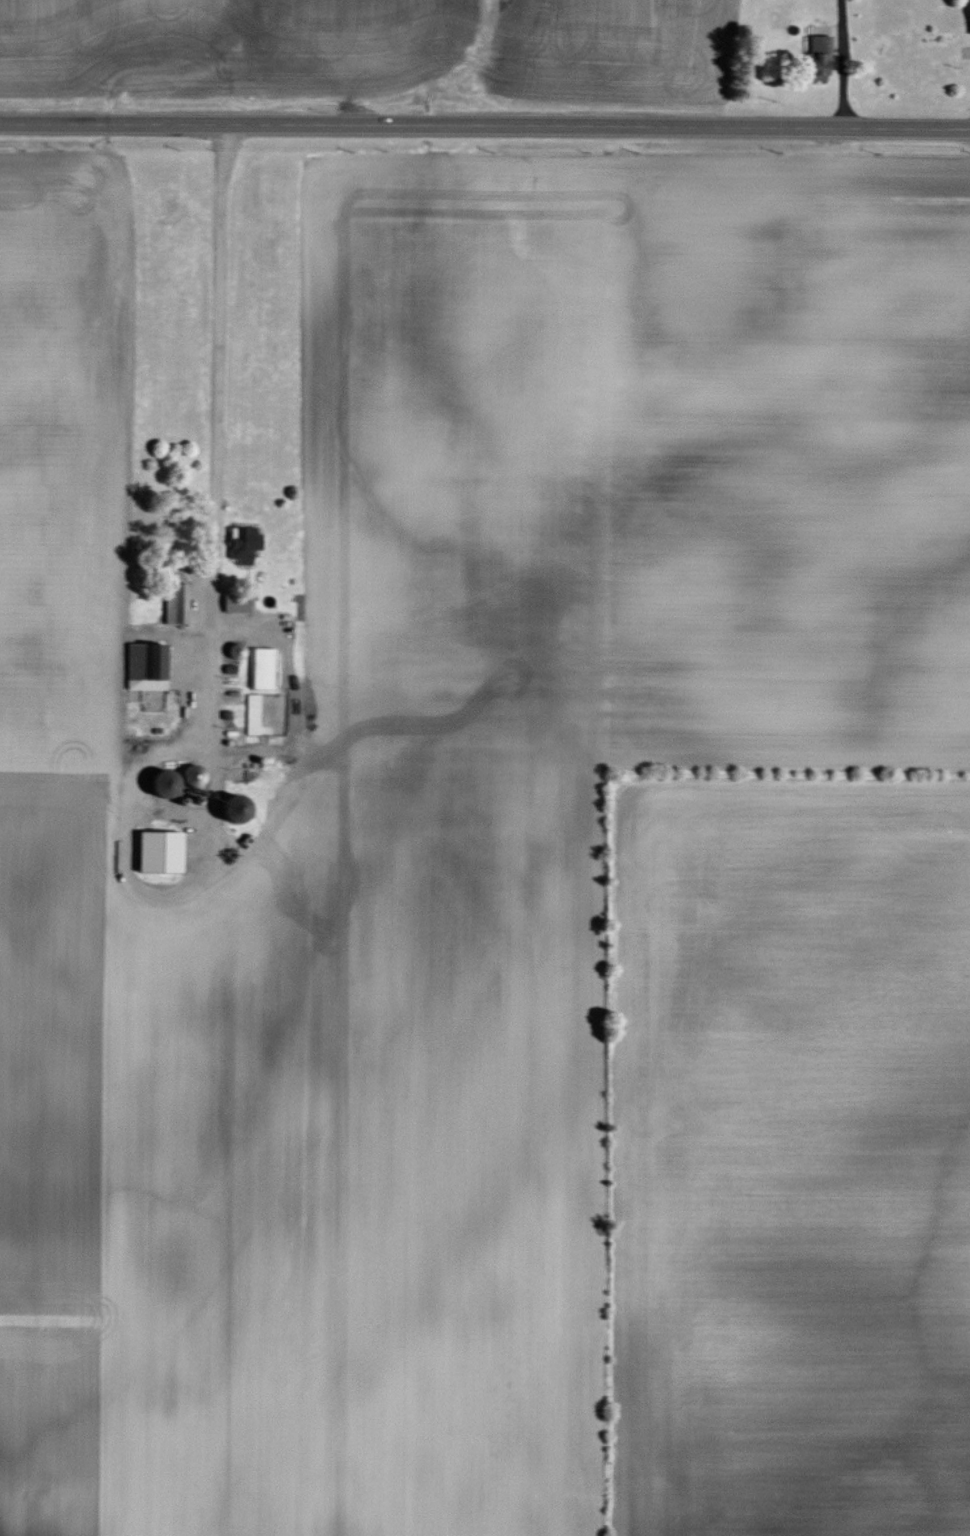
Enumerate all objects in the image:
road: (845, 64)
road: (485, 124)
building: (243, 545)
building: (236, 604)
building: (176, 605)
road: (211, 636)
building: (145, 667)
building: (261, 669)
building: (252, 715)
building: (160, 853)

